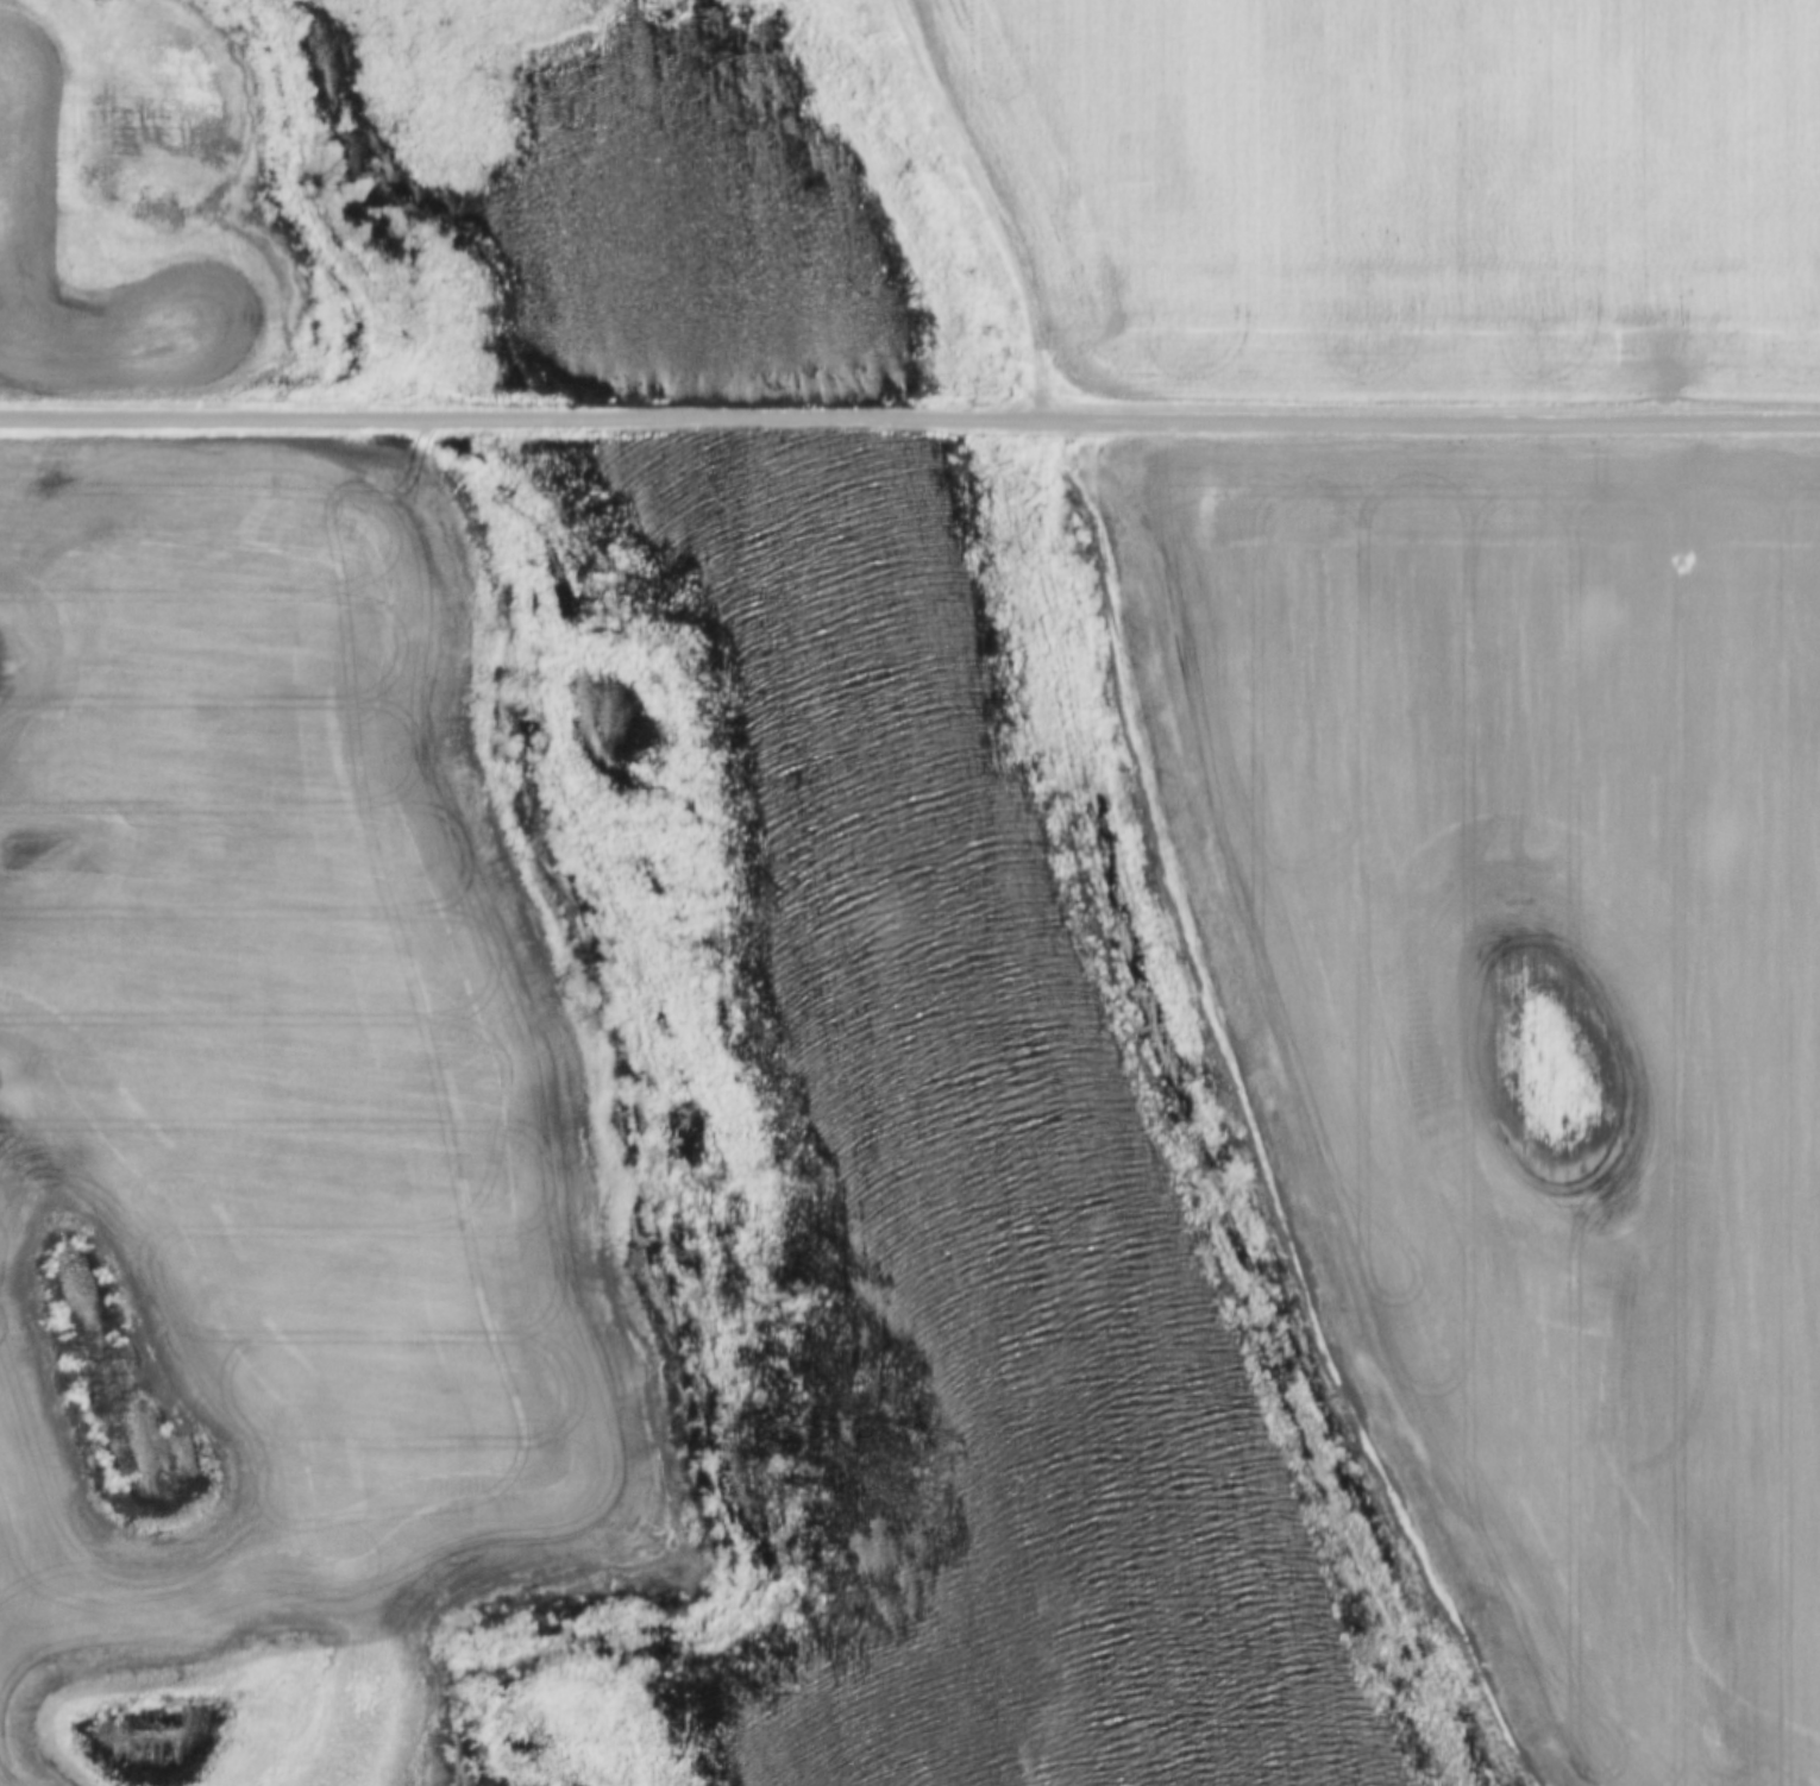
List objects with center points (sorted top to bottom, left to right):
road: (910, 419)

